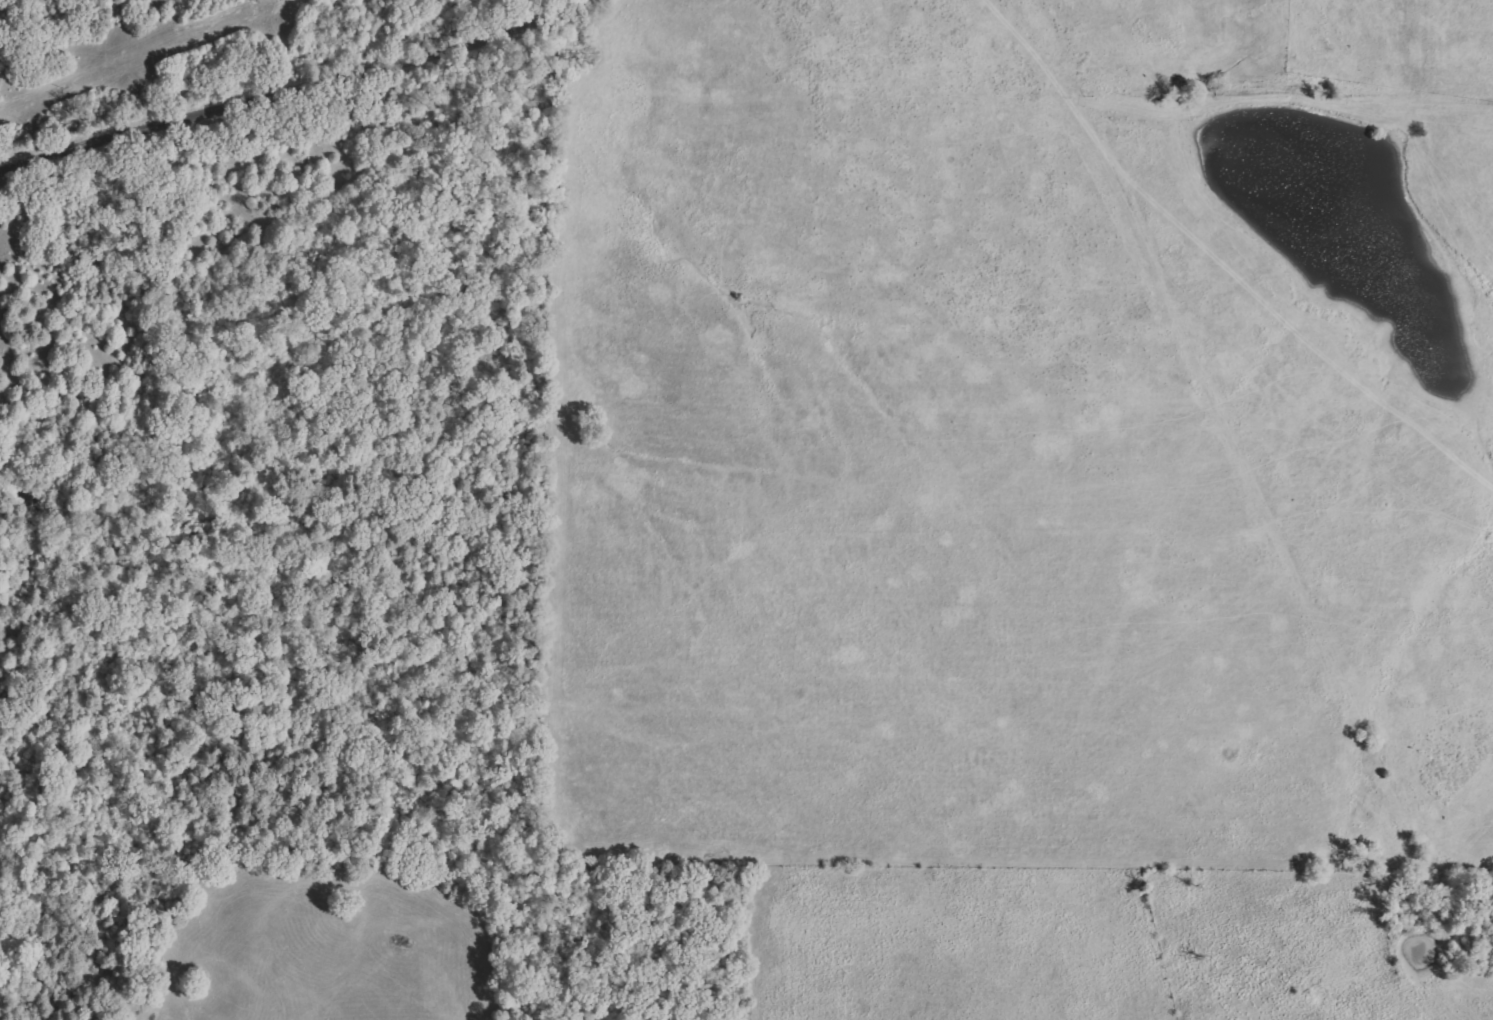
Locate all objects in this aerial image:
power tower: (280, 0)
road: (566, 5)
road: (1056, 47)
power tower: (60, 87)
road: (278, 92)

